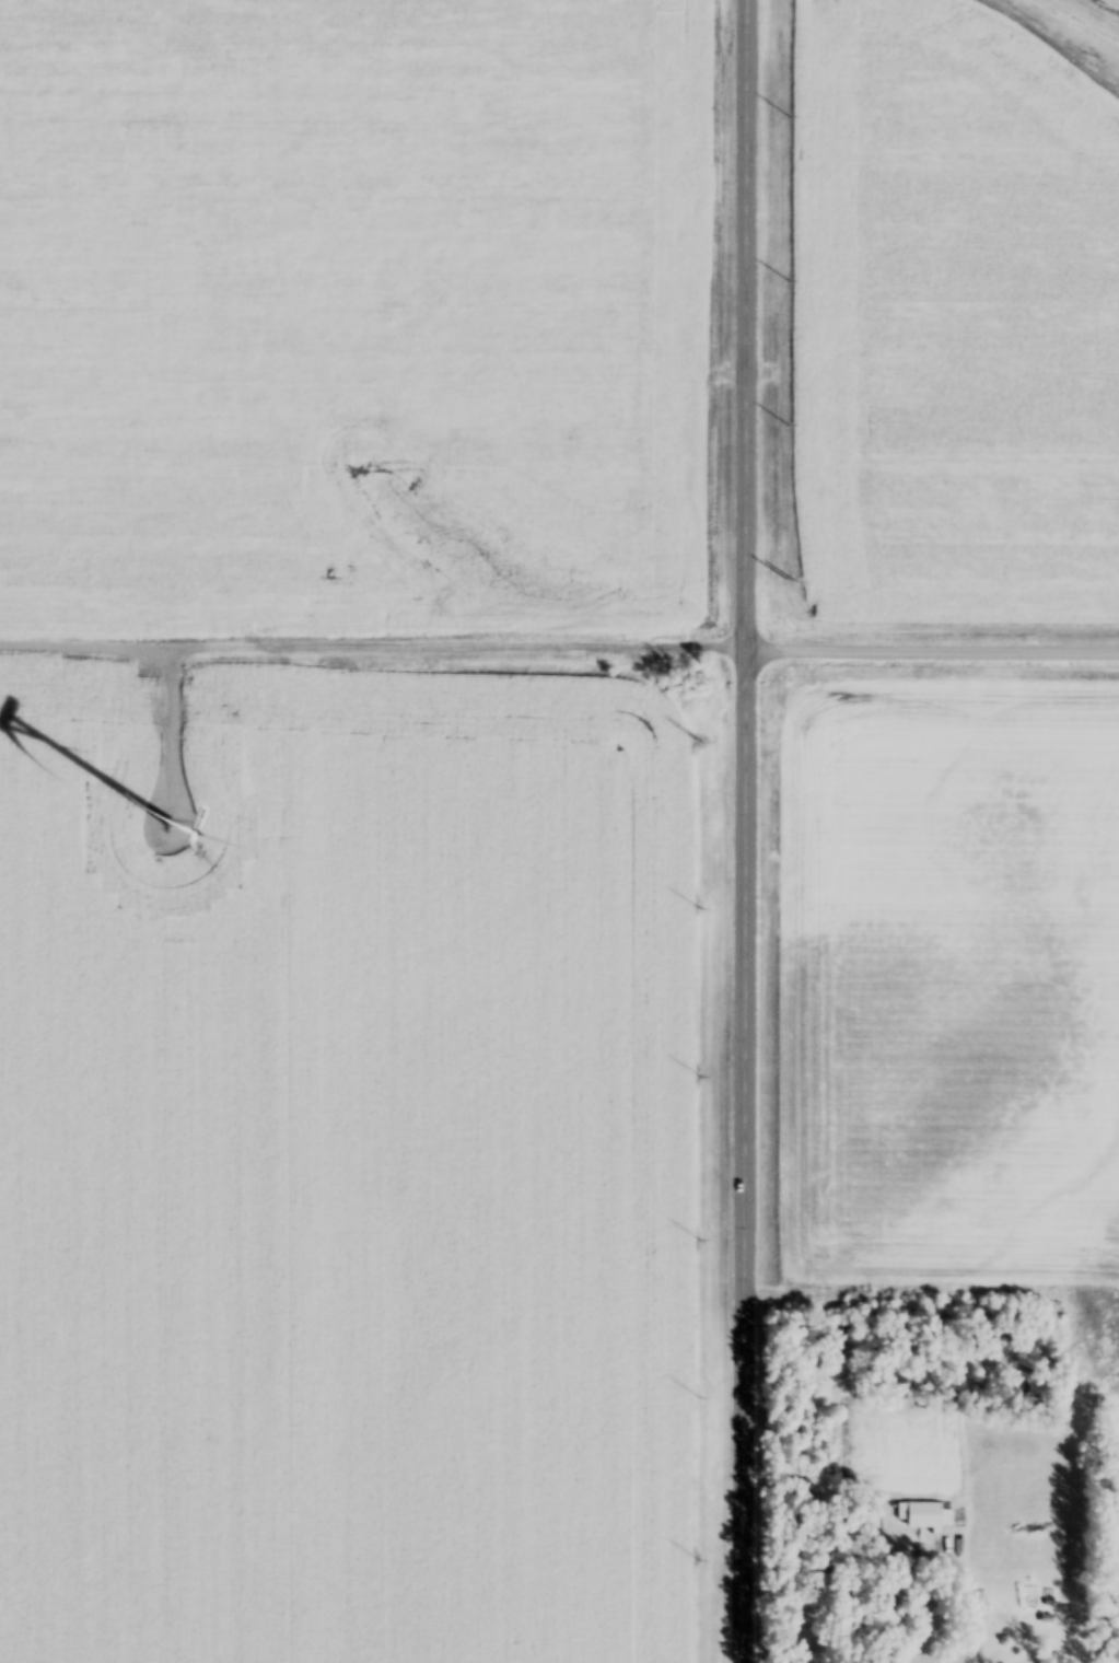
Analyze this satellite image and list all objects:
road: (559, 648)
wind turbine: (171, 827)
road: (751, 832)
building: (920, 1516)
road: (969, 1608)

